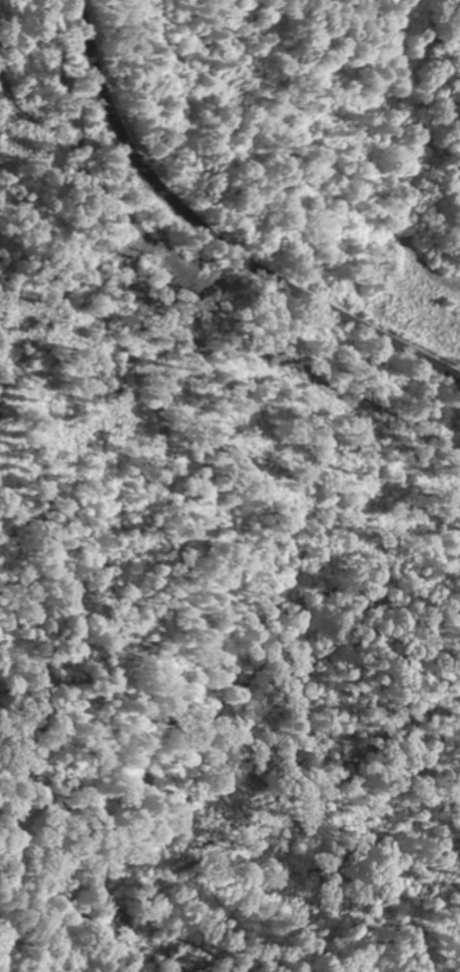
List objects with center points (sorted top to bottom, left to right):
road: (93, 66)
road: (269, 279)

